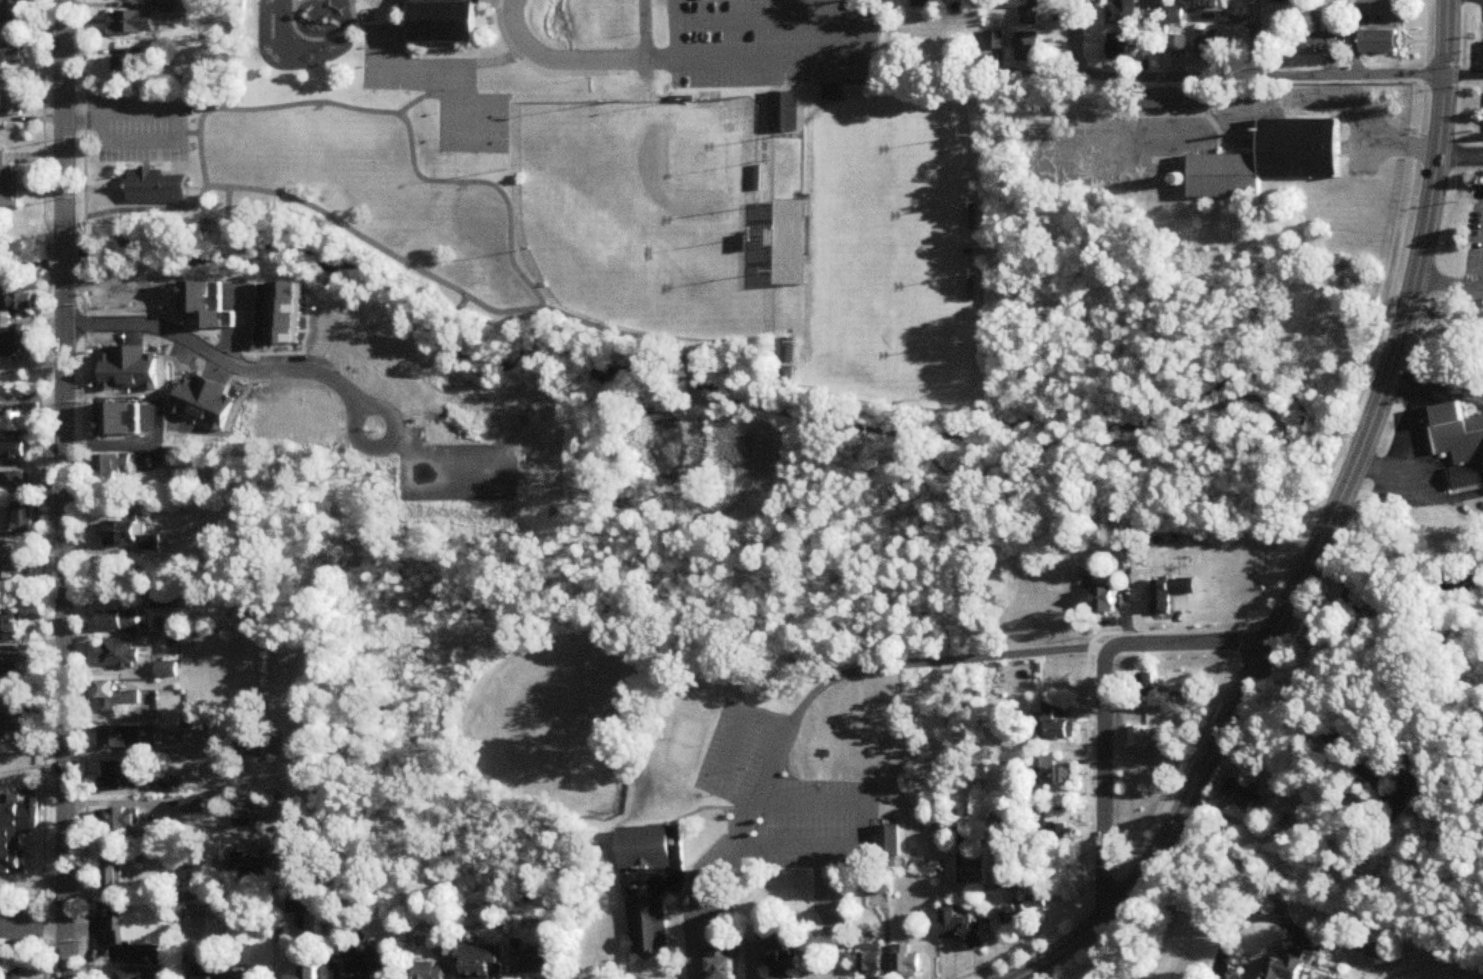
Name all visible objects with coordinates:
road: (398, 0)
building: (1154, 1)
building: (924, 3)
road: (296, 5)
building: (1211, 5)
building: (1028, 10)
building: (1124, 12)
building: (10, 15)
building: (1174, 16)
building: (444, 21)
building: (132, 22)
road: (360, 27)
road: (674, 30)
road: (326, 38)
road: (1074, 39)
road: (1257, 39)
building: (1310, 40)
road: (872, 41)
building: (1383, 42)
building: (1176, 44)
building: (1206, 44)
road: (641, 47)
building: (1029, 47)
building: (1117, 48)
building: (14, 53)
road: (492, 55)
road: (757, 57)
road: (556, 62)
road: (531, 63)
building: (124, 67)
road: (285, 72)
road: (1463, 74)
road: (1195, 79)
building: (832, 92)
park: (437, 93)
building: (13, 102)
building: (1150, 103)
road: (217, 108)
building: (783, 112)
road: (78, 119)
road: (37, 121)
road: (61, 121)
road: (75, 124)
parking lot: (138, 127)
road: (189, 135)
road: (179, 141)
road: (1459, 156)
building: (1271, 160)
building: (8, 184)
building: (156, 188)
park: (471, 208)
road: (151, 211)
park: (643, 213)
road: (224, 217)
building: (791, 243)
park: (874, 246)
road: (75, 256)
road: (50, 258)
road: (62, 263)
road: (1448, 281)
building: (15, 304)
road: (620, 334)
building: (17, 344)
building: (787, 359)
building: (109, 362)
road: (282, 369)
building: (203, 377)
river: (667, 377)
road: (691, 382)
road: (1448, 389)
building: (335, 393)
building: (16, 423)
building: (109, 425)
road: (1406, 436)
building: (1459, 443)
building: (16, 452)
road: (1031, 454)
building: (113, 465)
building: (16, 481)
building: (23, 519)
road: (1325, 533)
building: (128, 535)
road: (1297, 545)
building: (13, 568)
building: (1168, 594)
building: (1105, 596)
building: (118, 622)
building: (8, 624)
road: (78, 627)
road: (45, 628)
road: (64, 631)
road: (1040, 652)
building: (117, 653)
road: (1375, 659)
building: (166, 671)
building: (9, 674)
building: (1147, 685)
building: (113, 698)
park: (558, 716)
building: (194, 719)
building: (1052, 725)
building: (12, 729)
building: (1138, 737)
building: (119, 739)
road: (730, 747)
building: (1164, 754)
road: (32, 769)
building: (1053, 772)
building: (113, 774)
road: (1103, 783)
road: (37, 791)
building: (1406, 797)
building: (1244, 798)
road: (698, 803)
building: (194, 808)
building: (241, 814)
building: (115, 820)
building: (17, 824)
road: (743, 835)
building: (1061, 835)
road: (860, 836)
building: (889, 842)
building: (652, 856)
building: (113, 870)
building: (250, 870)
building: (199, 881)
road: (33, 882)
road: (680, 885)
building: (878, 887)
road: (675, 889)
building: (195, 903)
building: (301, 905)
building: (1025, 911)
parking lot: (17, 912)
building: (649, 920)
road: (1240, 923)
building: (143, 926)
road: (32, 928)
building: (960, 930)
building: (782, 949)
building: (722, 951)
building: (1374, 951)
building: (4, 956)
building: (383, 957)
building: (478, 962)
building: (904, 963)
building: (870, 964)
building: (535, 965)
building: (1287, 968)
building: (17, 971)
building: (208, 971)
building: (430, 971)
building: (309, 973)
building: (240, 974)
building: (130, 975)
road: (1021, 978)
building: (1323, 978)

